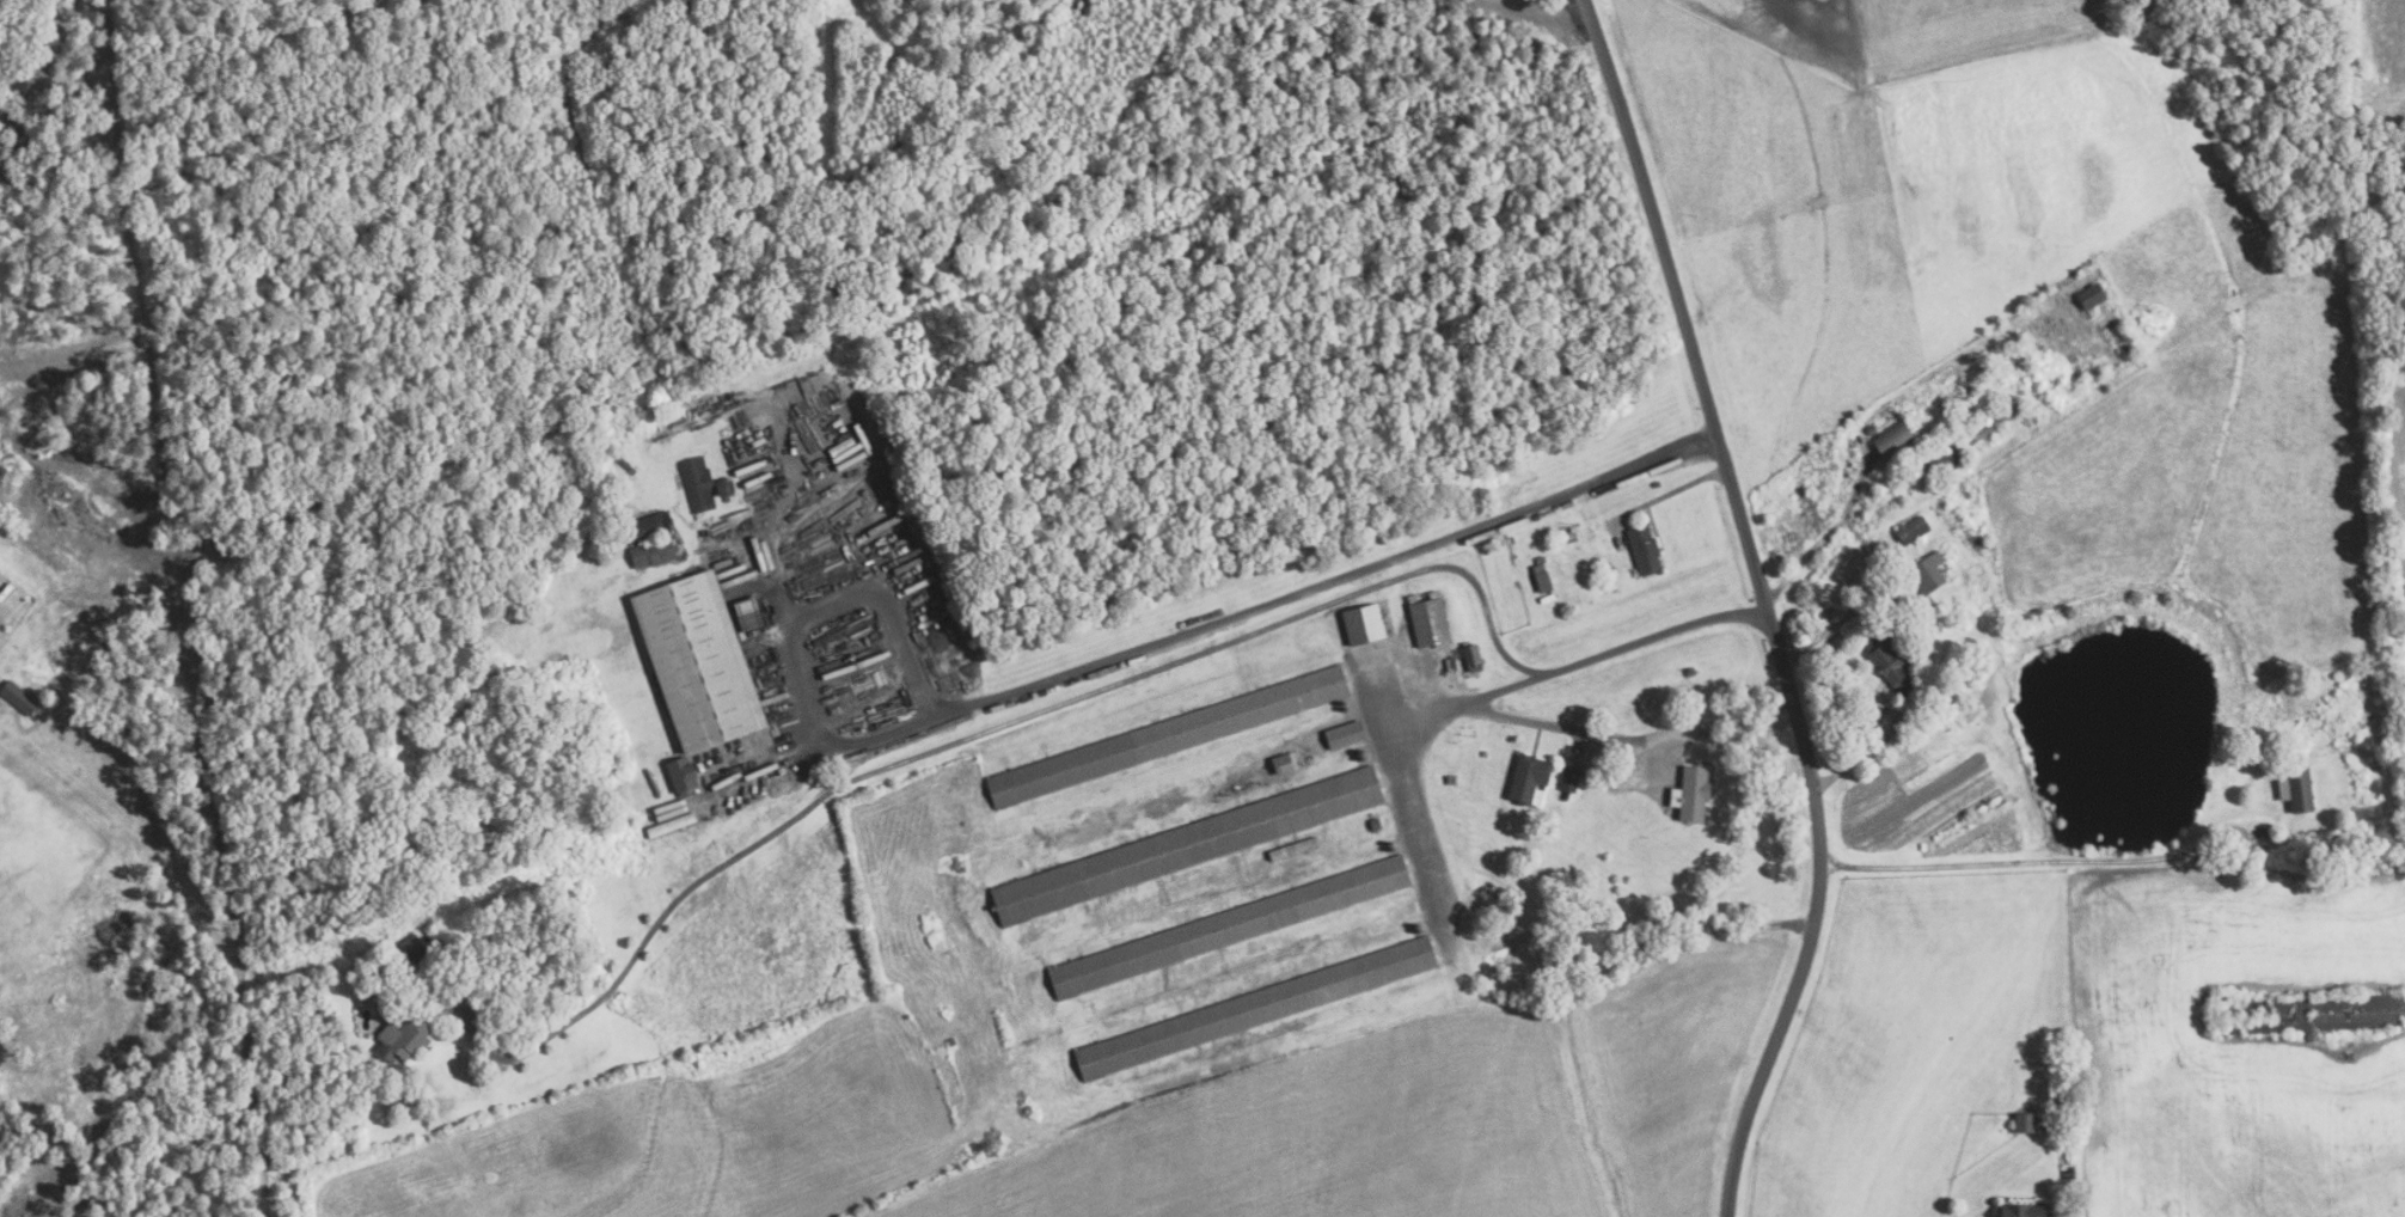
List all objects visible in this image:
building: (2088, 295)
building: (1964, 385)
building: (1959, 403)
building: (1994, 422)
building: (1892, 440)
building: (1939, 465)
building: (698, 484)
building: (727, 488)
road: (772, 518)
building: (650, 527)
building: (1909, 530)
building: (1642, 549)
building: (654, 552)
building: (1924, 574)
building: (1538, 577)
building: (10, 594)
road: (1761, 606)
building: (1940, 613)
building: (1432, 623)
building: (1366, 624)
building: (1474, 654)
building: (1887, 659)
road: (1107, 660)
building: (702, 662)
road: (1509, 685)
road: (1094, 689)
building: (16, 698)
building: (2, 701)
building: (1346, 735)
building: (1170, 736)
road: (1638, 747)
building: (1286, 762)
building: (685, 776)
building: (1525, 776)
building: (1568, 778)
building: (2294, 789)
road: (1401, 791)
building: (1690, 793)
building: (668, 817)
building: (1376, 824)
building: (1188, 845)
building: (1295, 848)
road: (2045, 862)
building: (1232, 925)
building: (415, 949)
building: (1256, 1008)
building: (2308, 1014)
building: (406, 1039)
building: (85, 1053)
building: (2022, 1123)
building: (2018, 1211)

